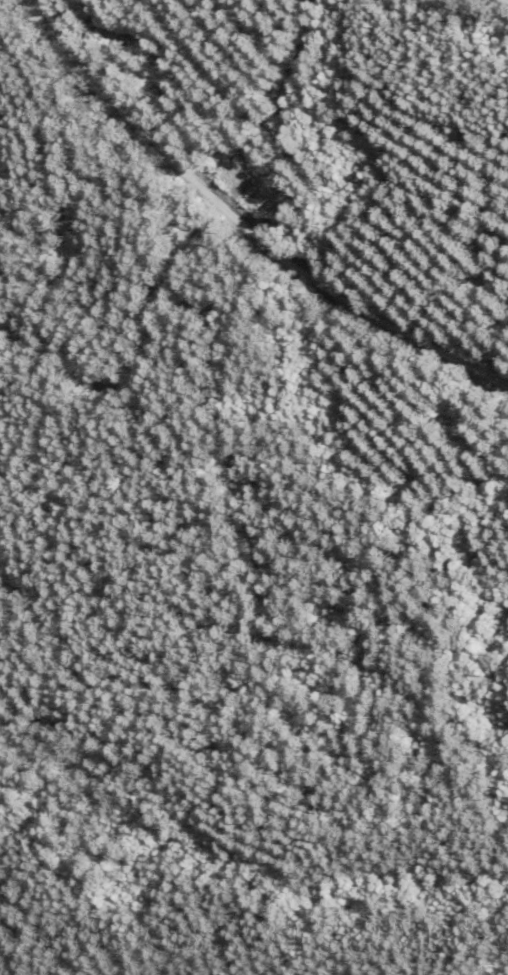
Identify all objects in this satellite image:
road: (250, 231)

